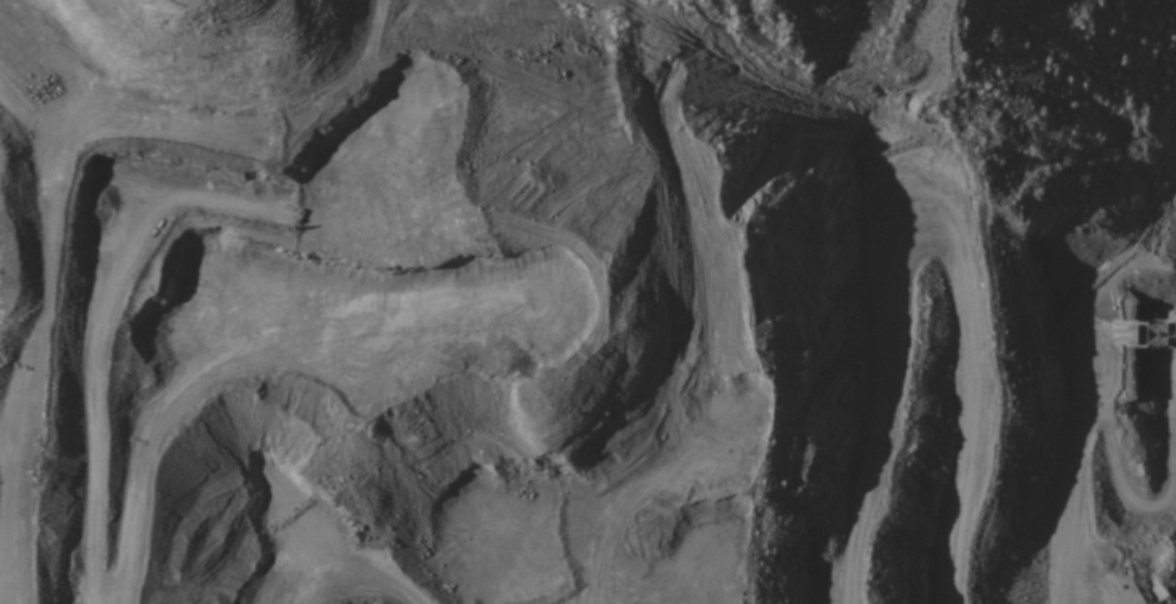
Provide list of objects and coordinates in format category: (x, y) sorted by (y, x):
road: (967, 228)
quarry: (587, 302)
road: (631, 581)

